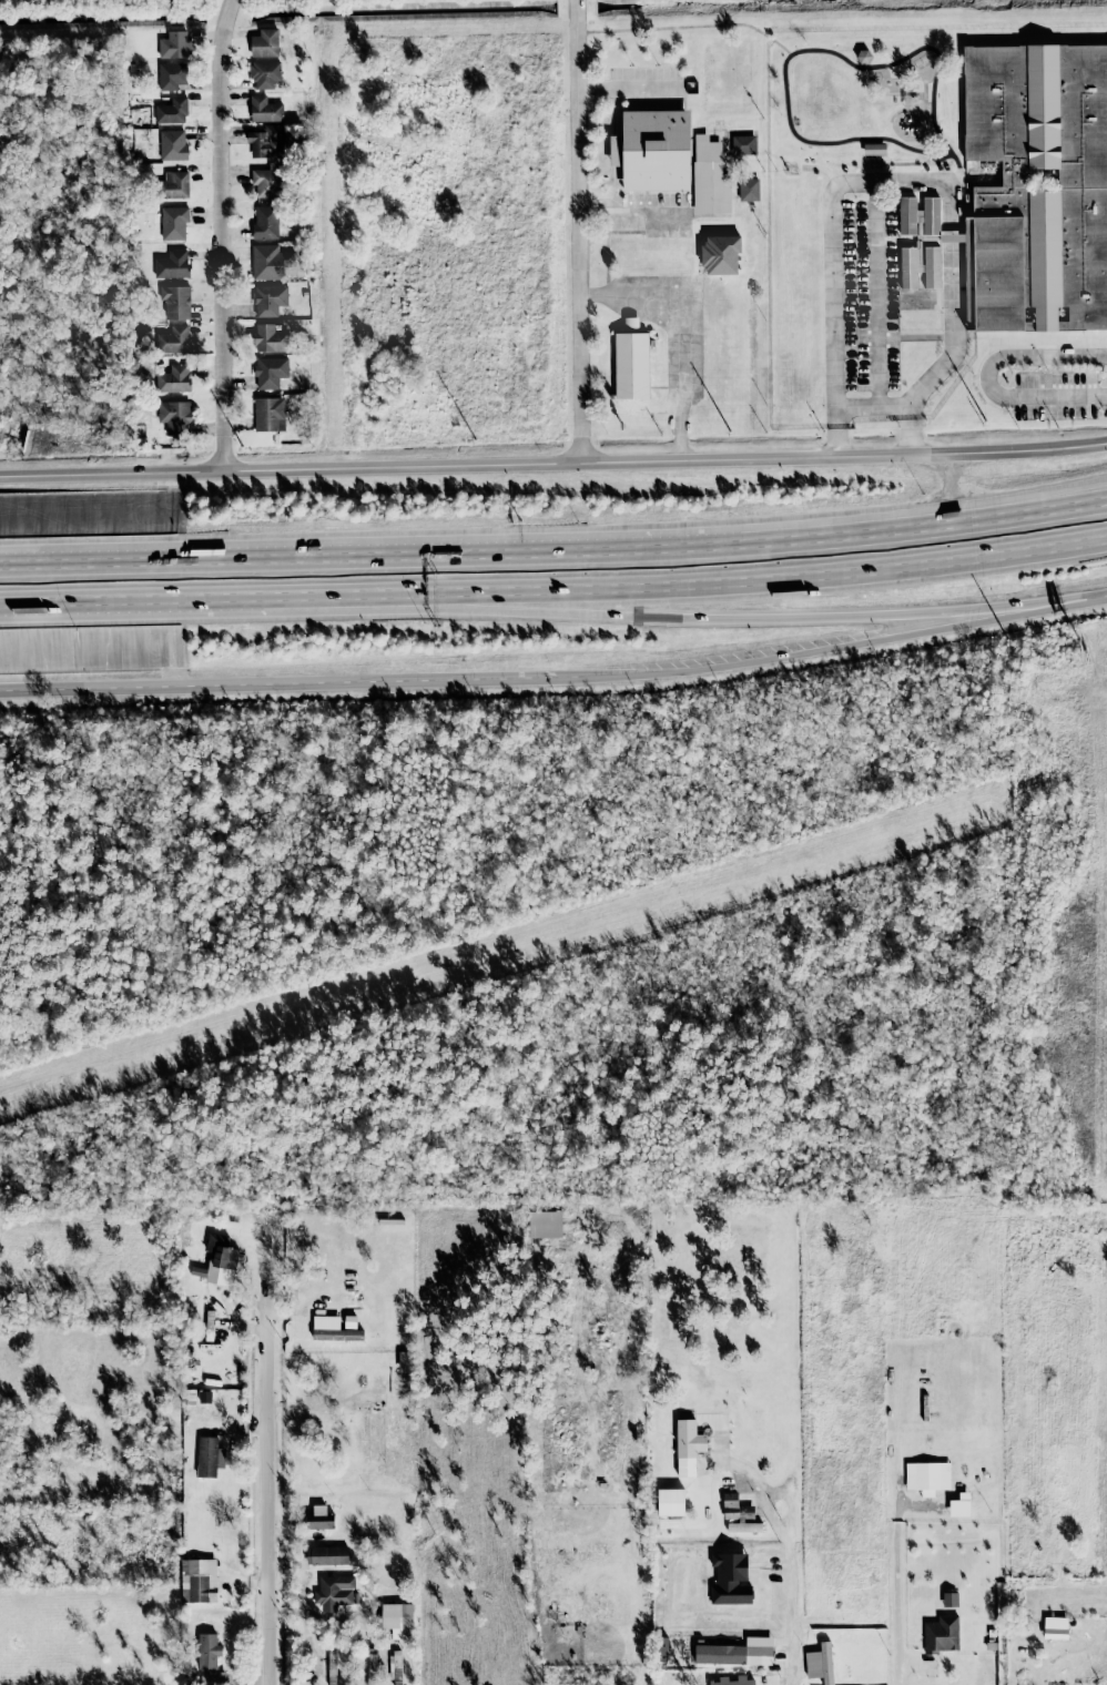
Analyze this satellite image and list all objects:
building: (264, 43)
building: (174, 45)
building: (863, 57)
building: (265, 75)
building: (171, 77)
road: (627, 88)
building: (265, 110)
building: (172, 111)
building: (266, 142)
building: (173, 145)
building: (653, 151)
building: (710, 179)
road: (896, 182)
building: (266, 183)
building: (175, 185)
building: (1001, 187)
building: (749, 190)
road: (631, 213)
building: (907, 216)
building: (931, 216)
building: (174, 223)
building: (265, 223)
road: (577, 232)
road: (221, 233)
building: (930, 240)
building: (653, 248)
building: (720, 255)
building: (270, 262)
building: (173, 265)
building: (932, 267)
building: (907, 268)
building: (968, 273)
parking lot: (861, 295)
road: (876, 295)
building: (270, 301)
building: (175, 302)
road: (683, 312)
building: (270, 338)
building: (173, 341)
building: (631, 359)
building: (271, 373)
road: (988, 377)
building: (174, 379)
parking lot: (1055, 396)
road: (871, 408)
building: (270, 415)
building: (175, 418)
road: (910, 440)
road: (836, 443)
road: (679, 444)
road: (1058, 449)
road: (504, 465)
road: (947, 507)
road: (947, 518)
road: (745, 537)
road: (672, 541)
road: (322, 562)
road: (717, 583)
road: (1097, 598)
road: (1062, 603)
road: (234, 605)
road: (293, 605)
road: (103, 607)
road: (1016, 608)
road: (1016, 612)
road: (660, 616)
road: (855, 642)
road: (676, 671)
road: (557, 679)
road: (237, 688)
building: (545, 1225)
building: (220, 1260)
building: (187, 1398)
building: (688, 1447)
building: (209, 1458)
building: (927, 1478)
road: (267, 1493)
building: (670, 1502)
building: (730, 1506)
building: (959, 1509)
building: (319, 1520)
building: (744, 1527)
building: (327, 1555)
road: (785, 1556)
road: (894, 1571)
road: (304, 1572)
building: (731, 1580)
building: (199, 1581)
building: (334, 1593)
road: (349, 1616)
building: (397, 1618)
building: (1055, 1634)
building: (942, 1635)
building: (207, 1652)
building: (733, 1655)
building: (820, 1664)
building: (332, 1667)
building: (396, 1667)
building: (372, 1669)
road: (894, 1669)
building: (213, 1678)
building: (735, 1682)

